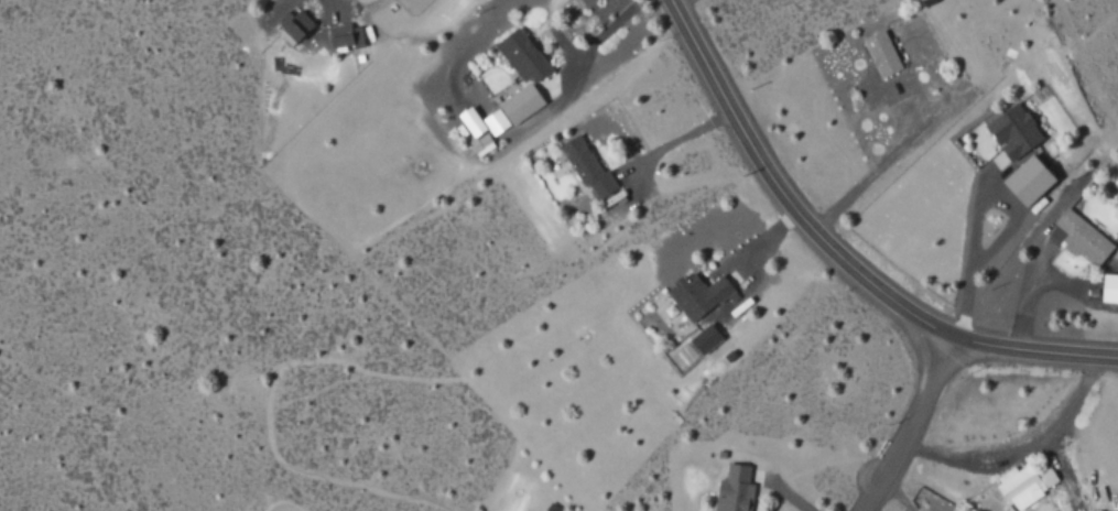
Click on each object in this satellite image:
building: (293, 25)
building: (341, 35)
building: (879, 53)
building: (520, 55)
building: (518, 104)
building: (467, 120)
building: (492, 121)
building: (1009, 131)
building: (478, 143)
building: (583, 166)
building: (1023, 180)
building: (1079, 238)
road: (837, 254)
building: (1107, 289)
building: (694, 294)
building: (702, 338)
road: (894, 428)
building: (1021, 483)
building: (731, 490)

